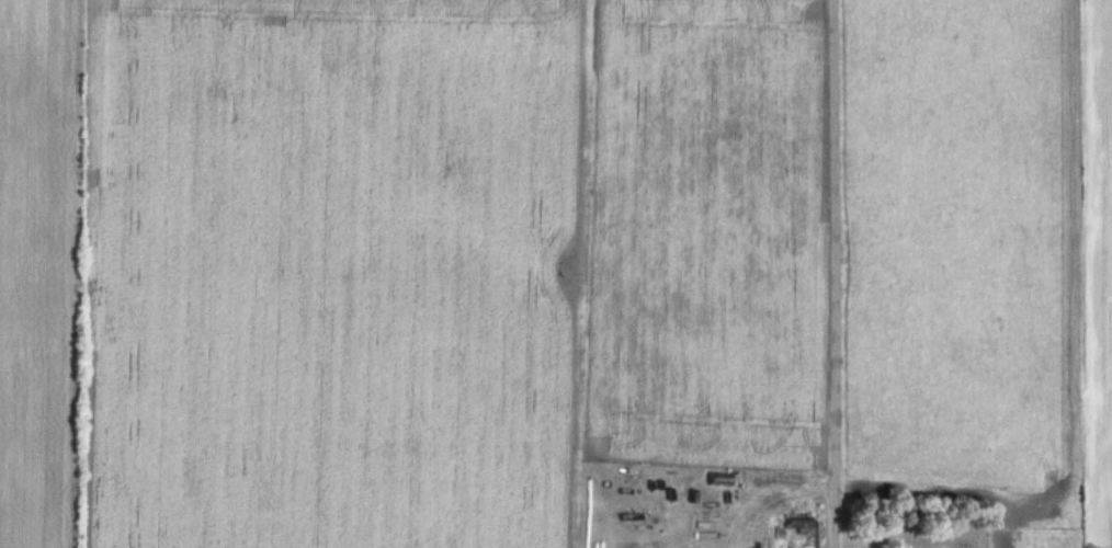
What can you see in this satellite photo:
crop: (463, 229)
crop: (958, 246)
crop: (1089, 249)
crop: (42, 266)
road: (832, 274)

